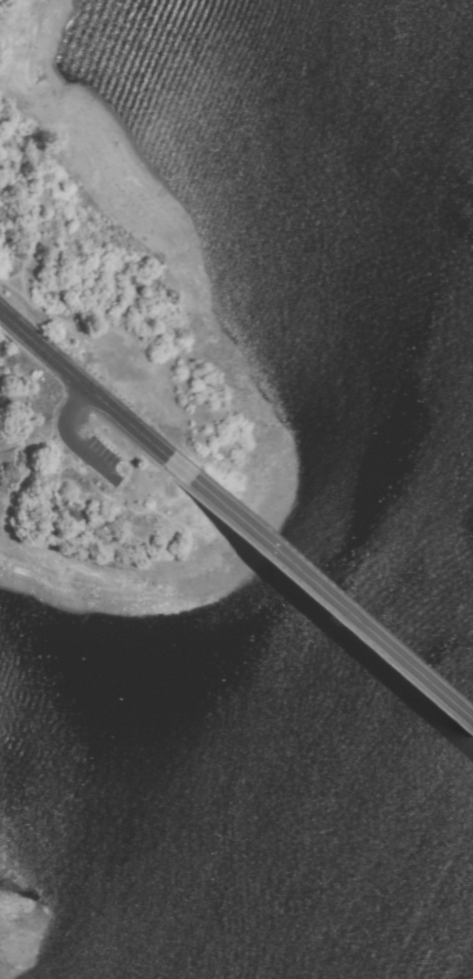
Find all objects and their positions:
road: (98, 392)
road: (56, 429)
parking lot: (88, 452)
road: (335, 594)

